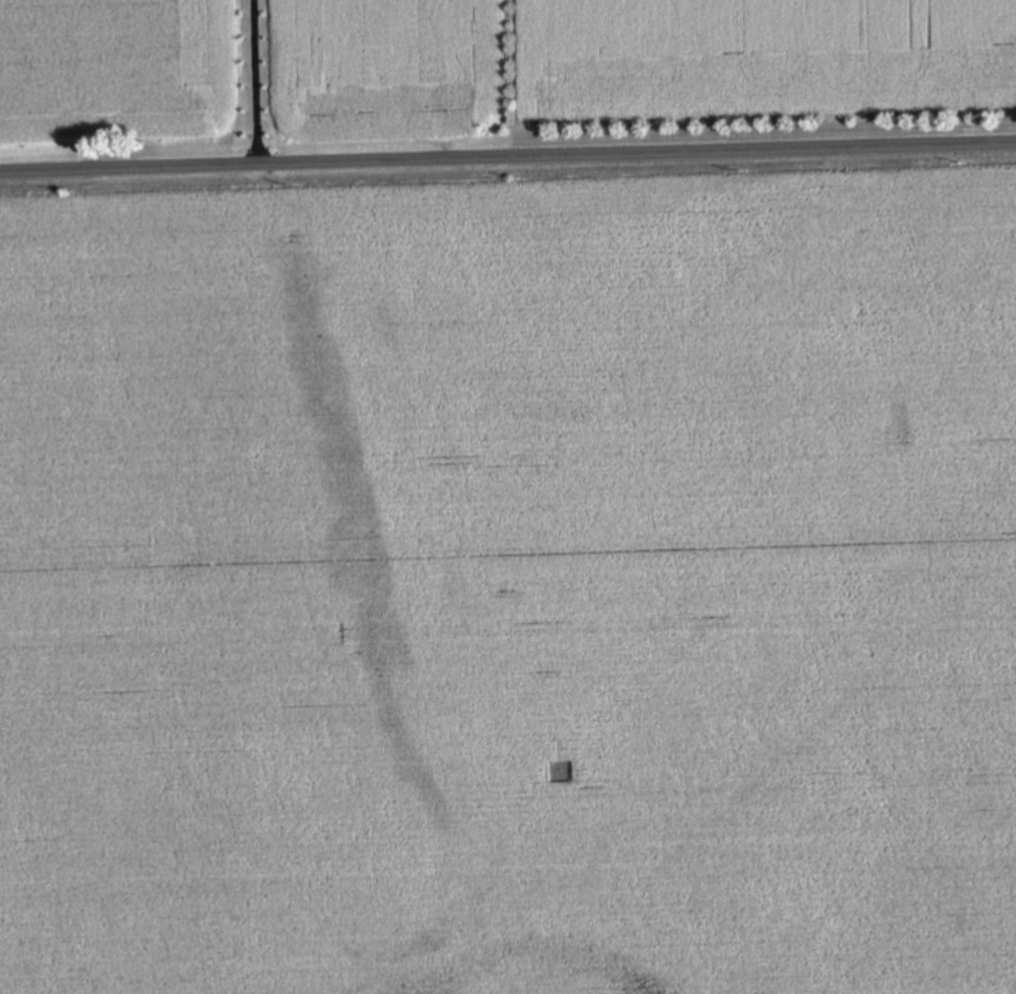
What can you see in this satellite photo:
road: (255, 82)
road: (507, 157)

